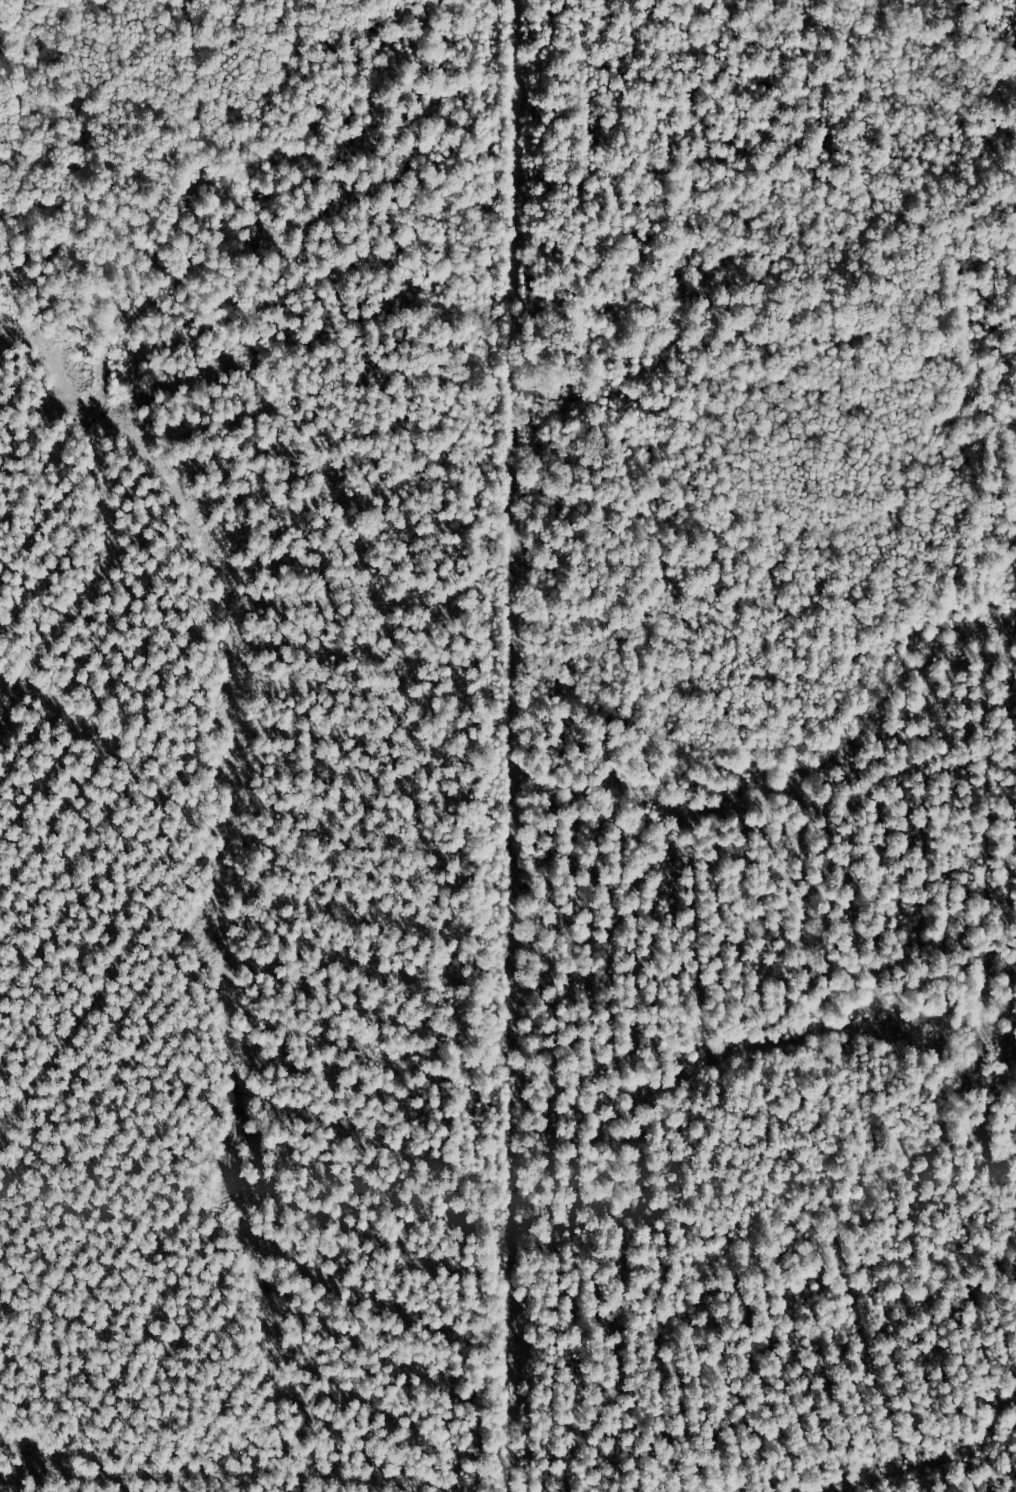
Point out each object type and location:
road: (913, 1449)

